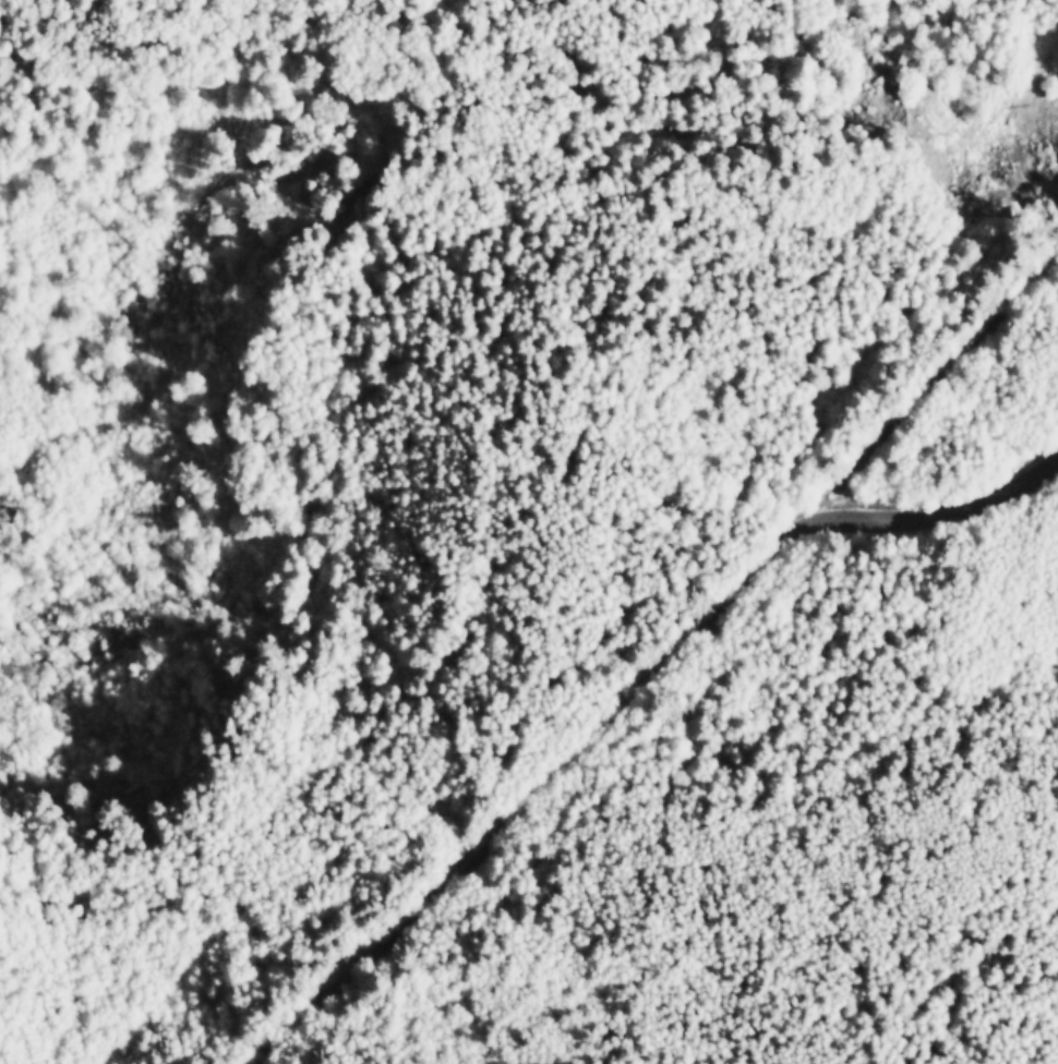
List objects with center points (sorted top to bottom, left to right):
road: (627, 708)

